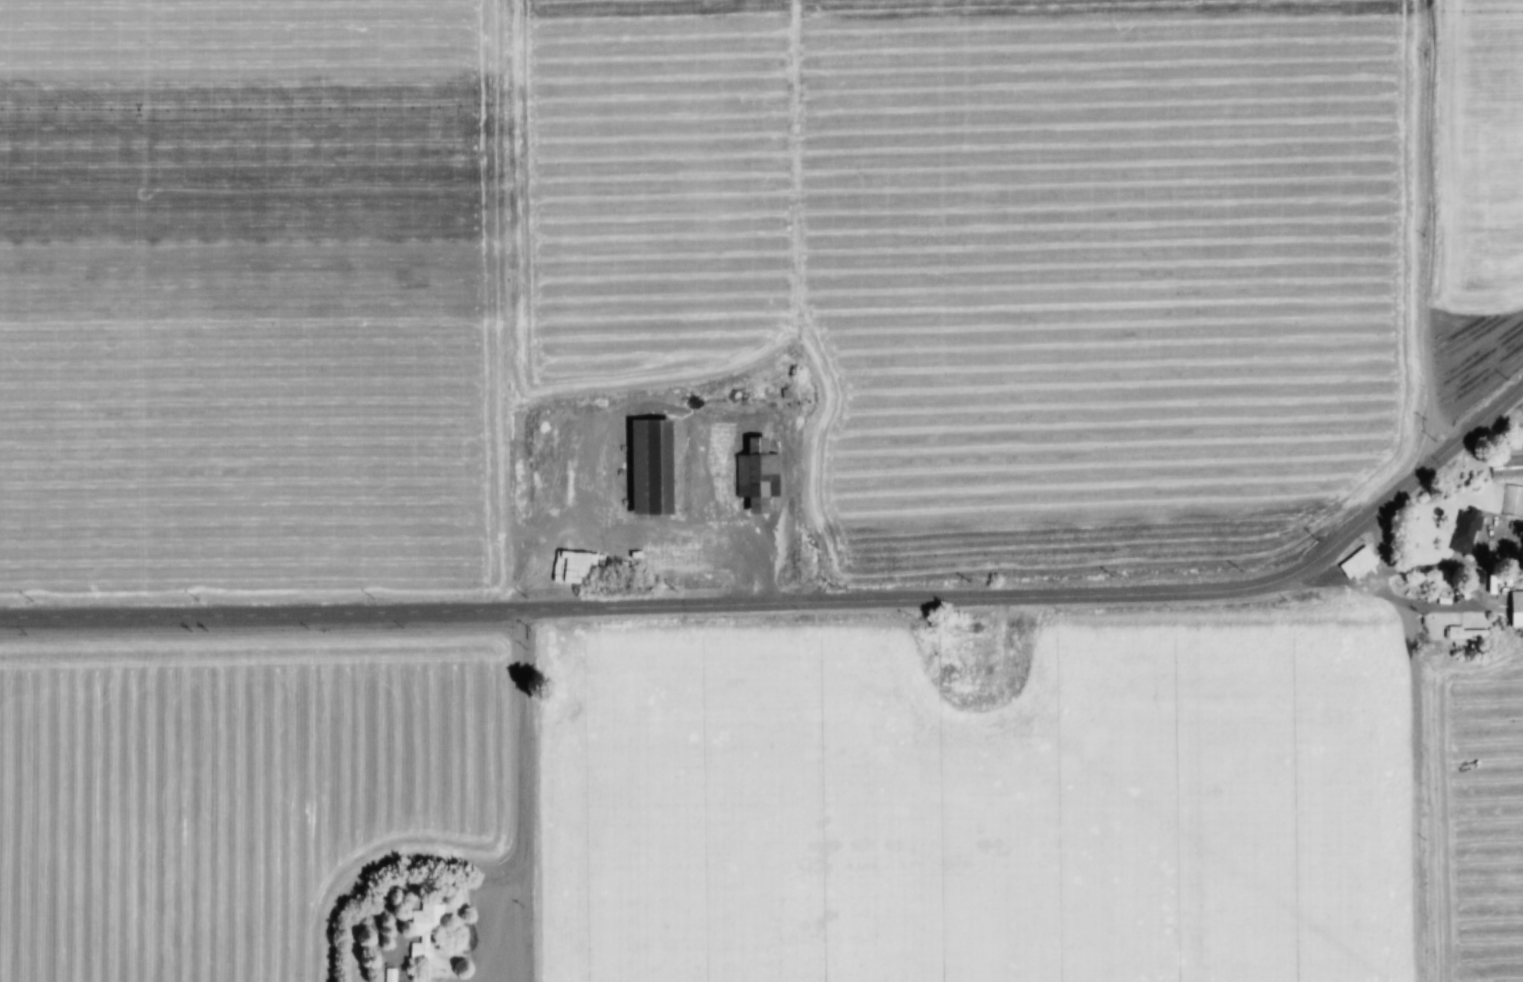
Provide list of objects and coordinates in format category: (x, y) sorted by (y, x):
road: (1431, 233)
building: (653, 469)
building: (758, 473)
building: (1513, 502)
building: (1466, 533)
building: (1517, 610)
road: (796, 611)
road: (532, 801)
building: (427, 923)

